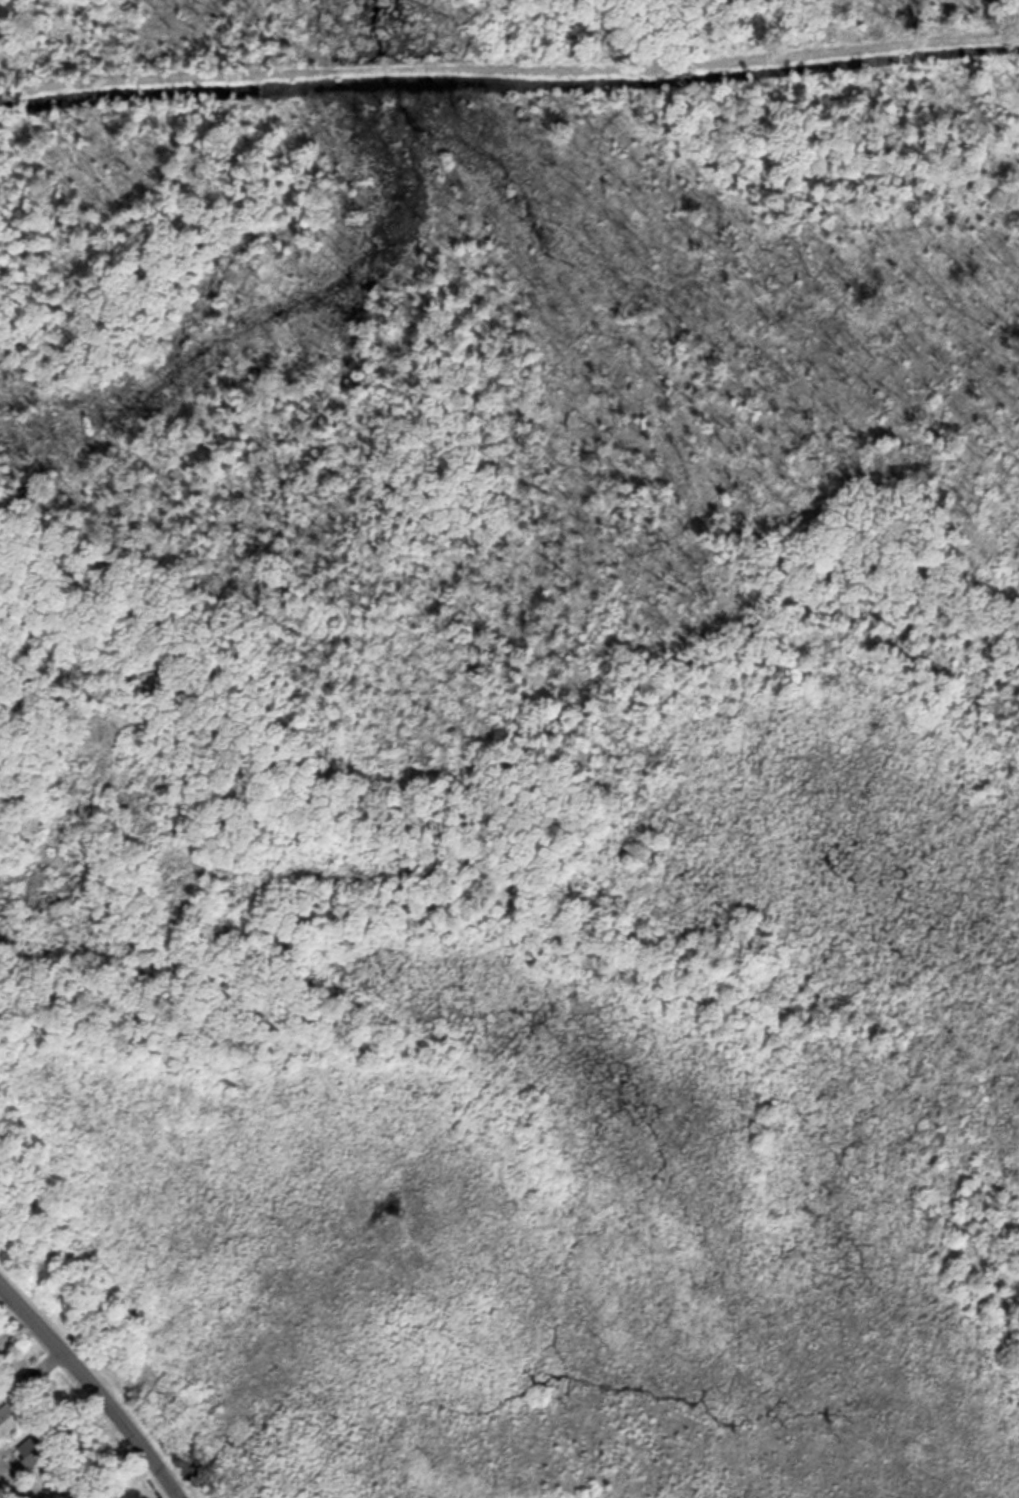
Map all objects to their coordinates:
road: (95, 1383)
building: (8, 1417)

